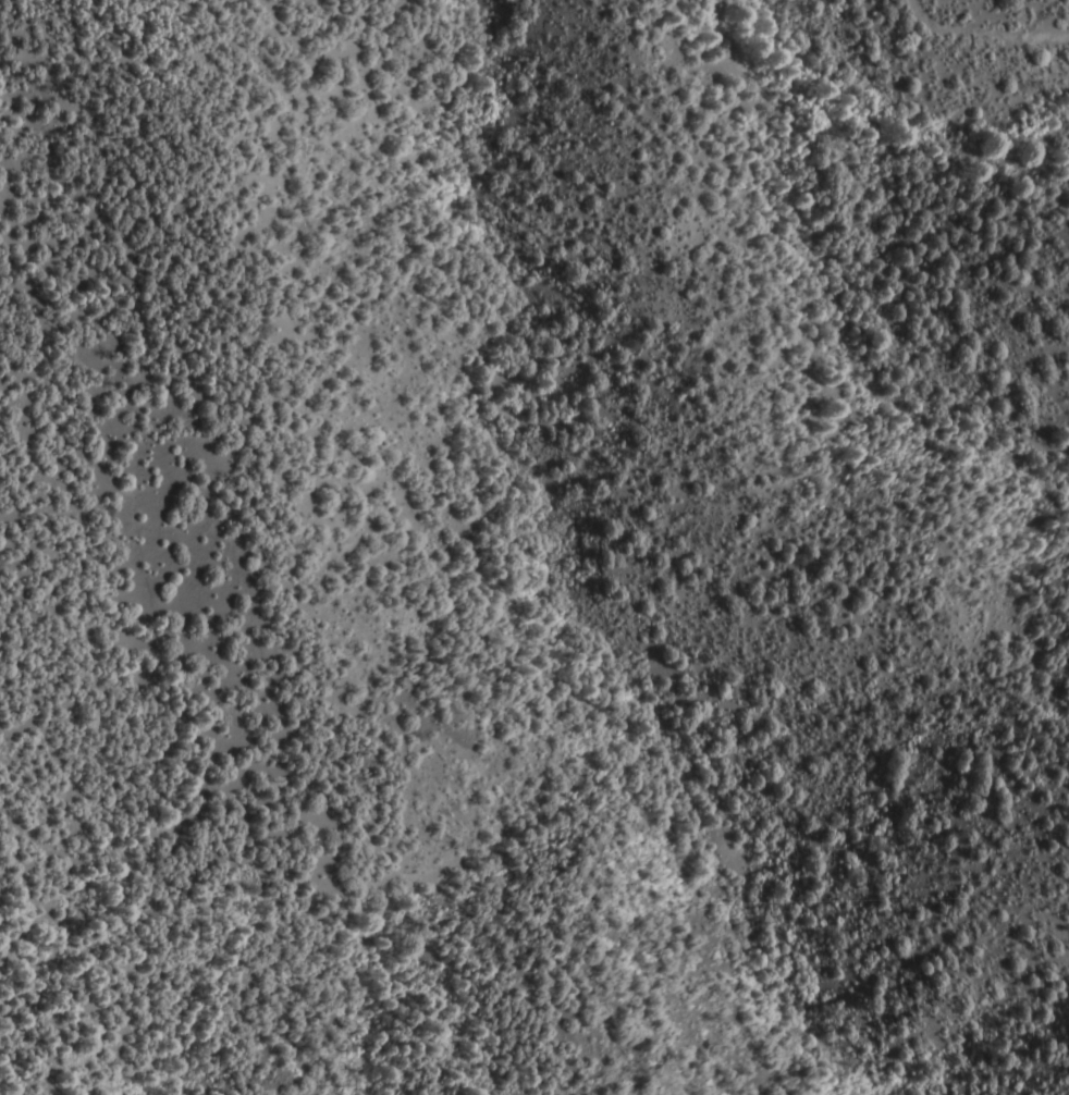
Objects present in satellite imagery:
road: (1013, 20)

